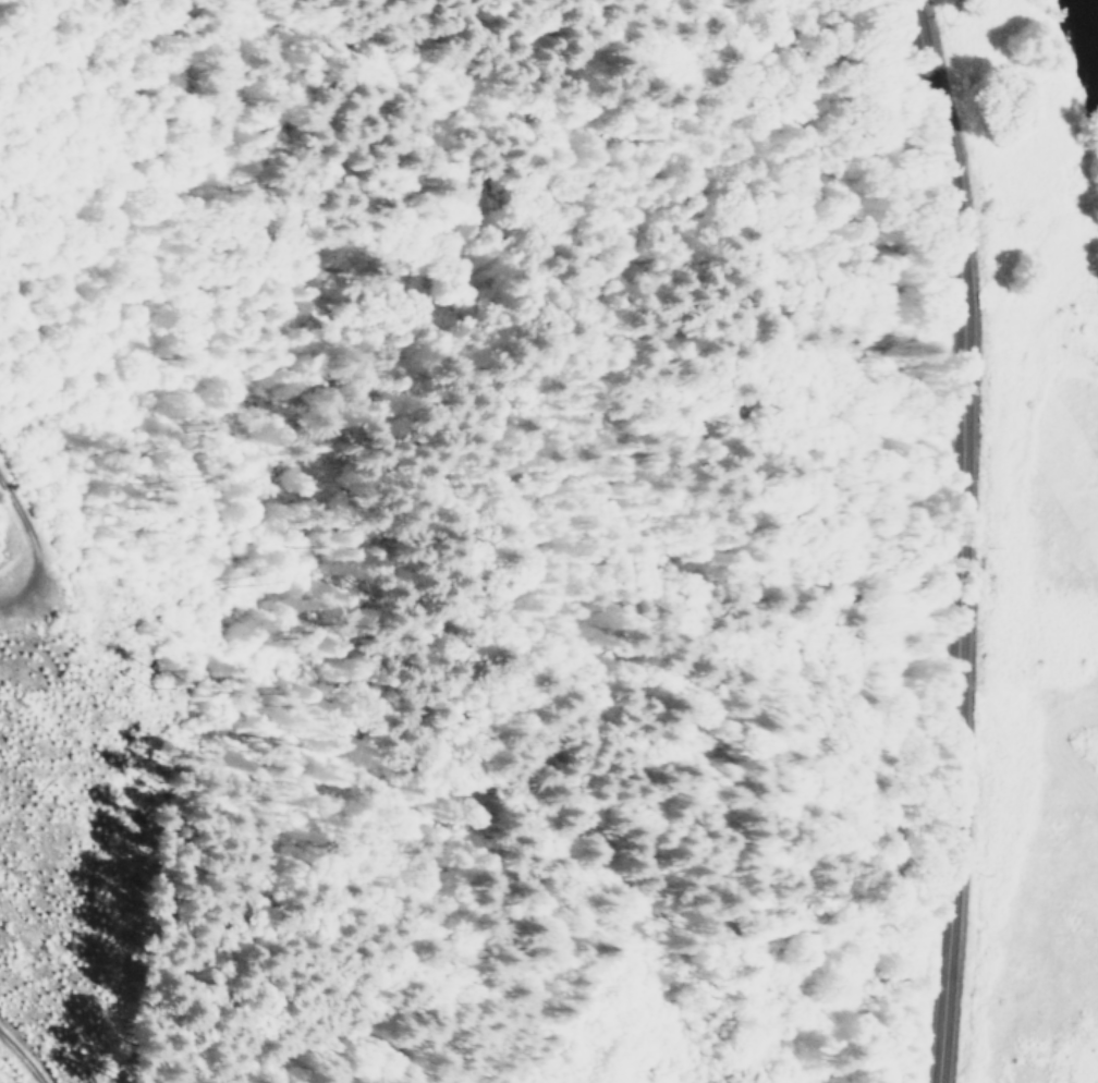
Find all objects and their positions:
river: (1090, 17)
road: (964, 539)

